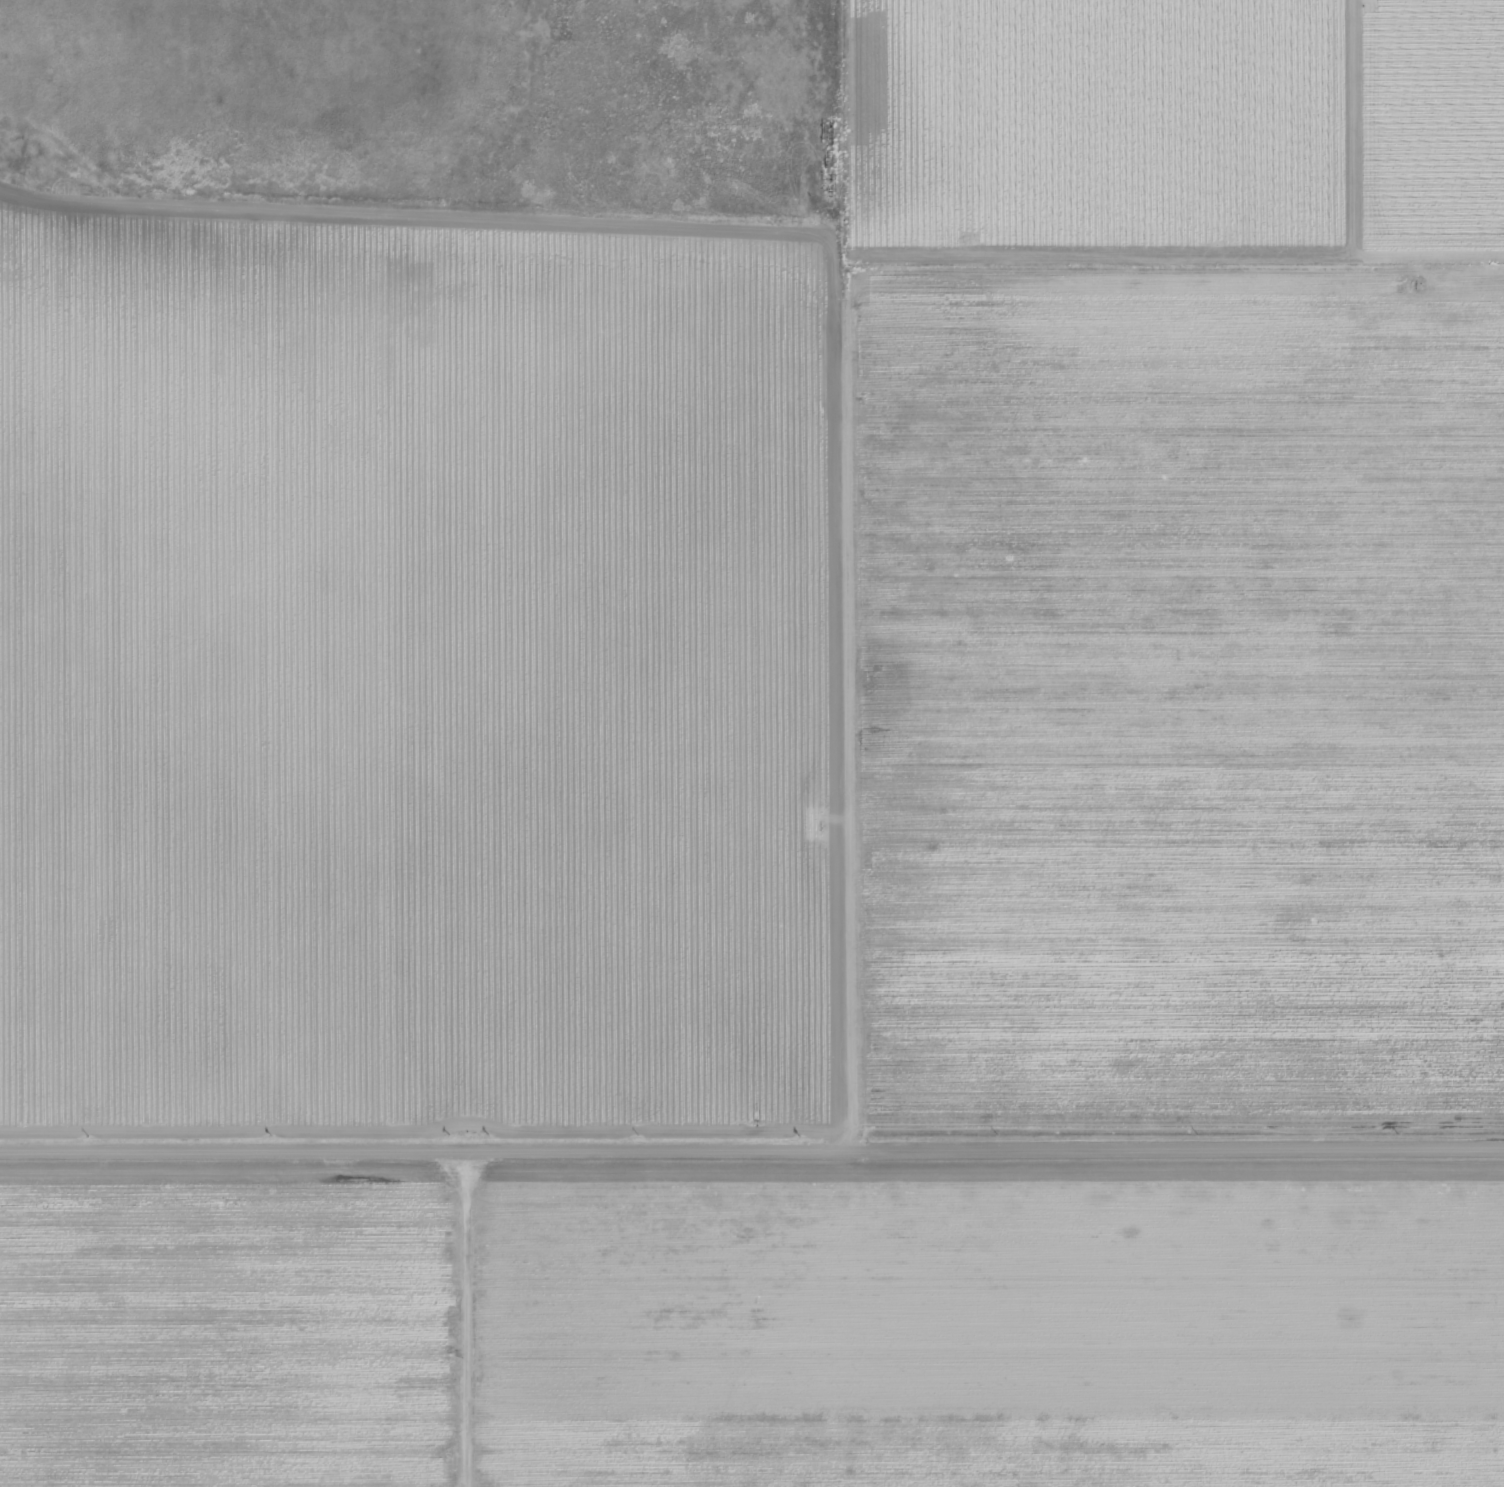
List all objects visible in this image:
road: (1343, 136)
road: (852, 407)
road: (752, 1155)

